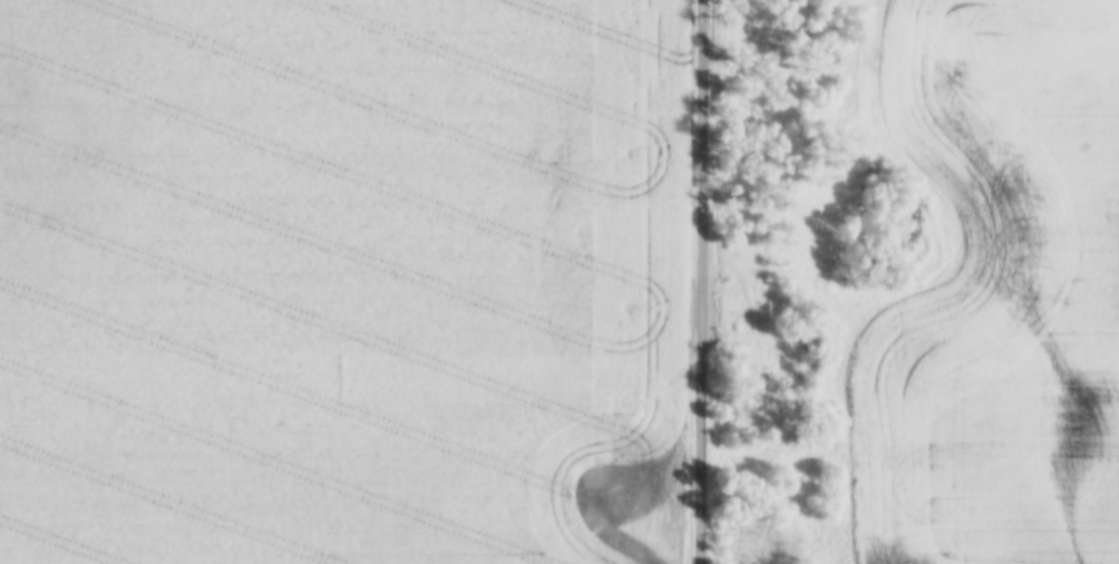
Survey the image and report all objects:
road: (700, 282)

